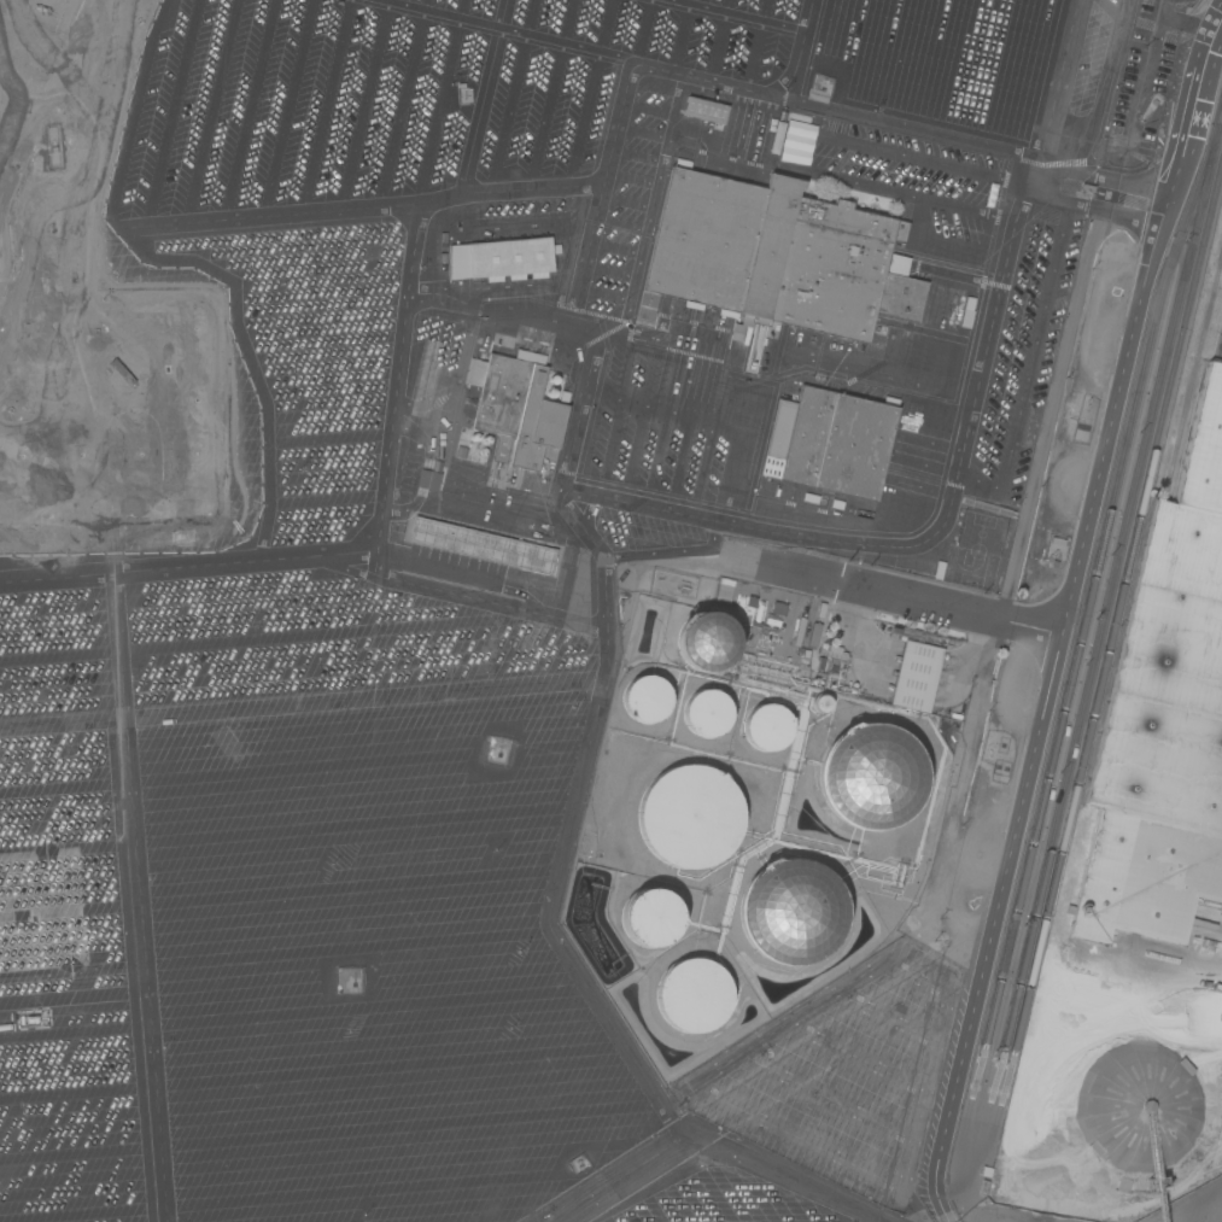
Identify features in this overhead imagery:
road: (1168, 8)
road: (1153, 48)
road: (621, 97)
road: (647, 109)
building: (704, 110)
road: (641, 131)
road: (635, 156)
road: (714, 163)
road: (983, 174)
road: (628, 179)
road: (904, 193)
road: (622, 201)
road: (650, 207)
road: (618, 221)
road: (610, 246)
building: (509, 257)
building: (777, 257)
road: (604, 270)
road: (598, 293)
road: (550, 315)
building: (754, 351)
road: (1029, 361)
road: (788, 367)
building: (555, 380)
railway: (1194, 384)
building: (551, 394)
building: (563, 398)
building: (518, 409)
road: (967, 416)
building: (474, 438)
building: (486, 440)
road: (575, 442)
building: (829, 443)
road: (385, 451)
building: (483, 452)
road: (577, 526)
building: (480, 545)
road: (432, 565)
railway: (1094, 580)
railway: (1115, 585)
road: (891, 597)
building: (778, 609)
railway: (1119, 612)
road: (604, 616)
road: (1059, 621)
building: (799, 632)
building: (813, 635)
building: (704, 641)
building: (832, 653)
building: (917, 670)
road: (362, 697)
building: (644, 698)
building: (819, 703)
building: (706, 713)
building: (1165, 715)
road: (59, 724)
building: (766, 727)
building: (871, 777)
building: (689, 817)
building: (41, 912)
building: (790, 912)
building: (649, 918)
building: (692, 995)
building: (1138, 1107)
road: (626, 1180)
road: (785, 1180)

